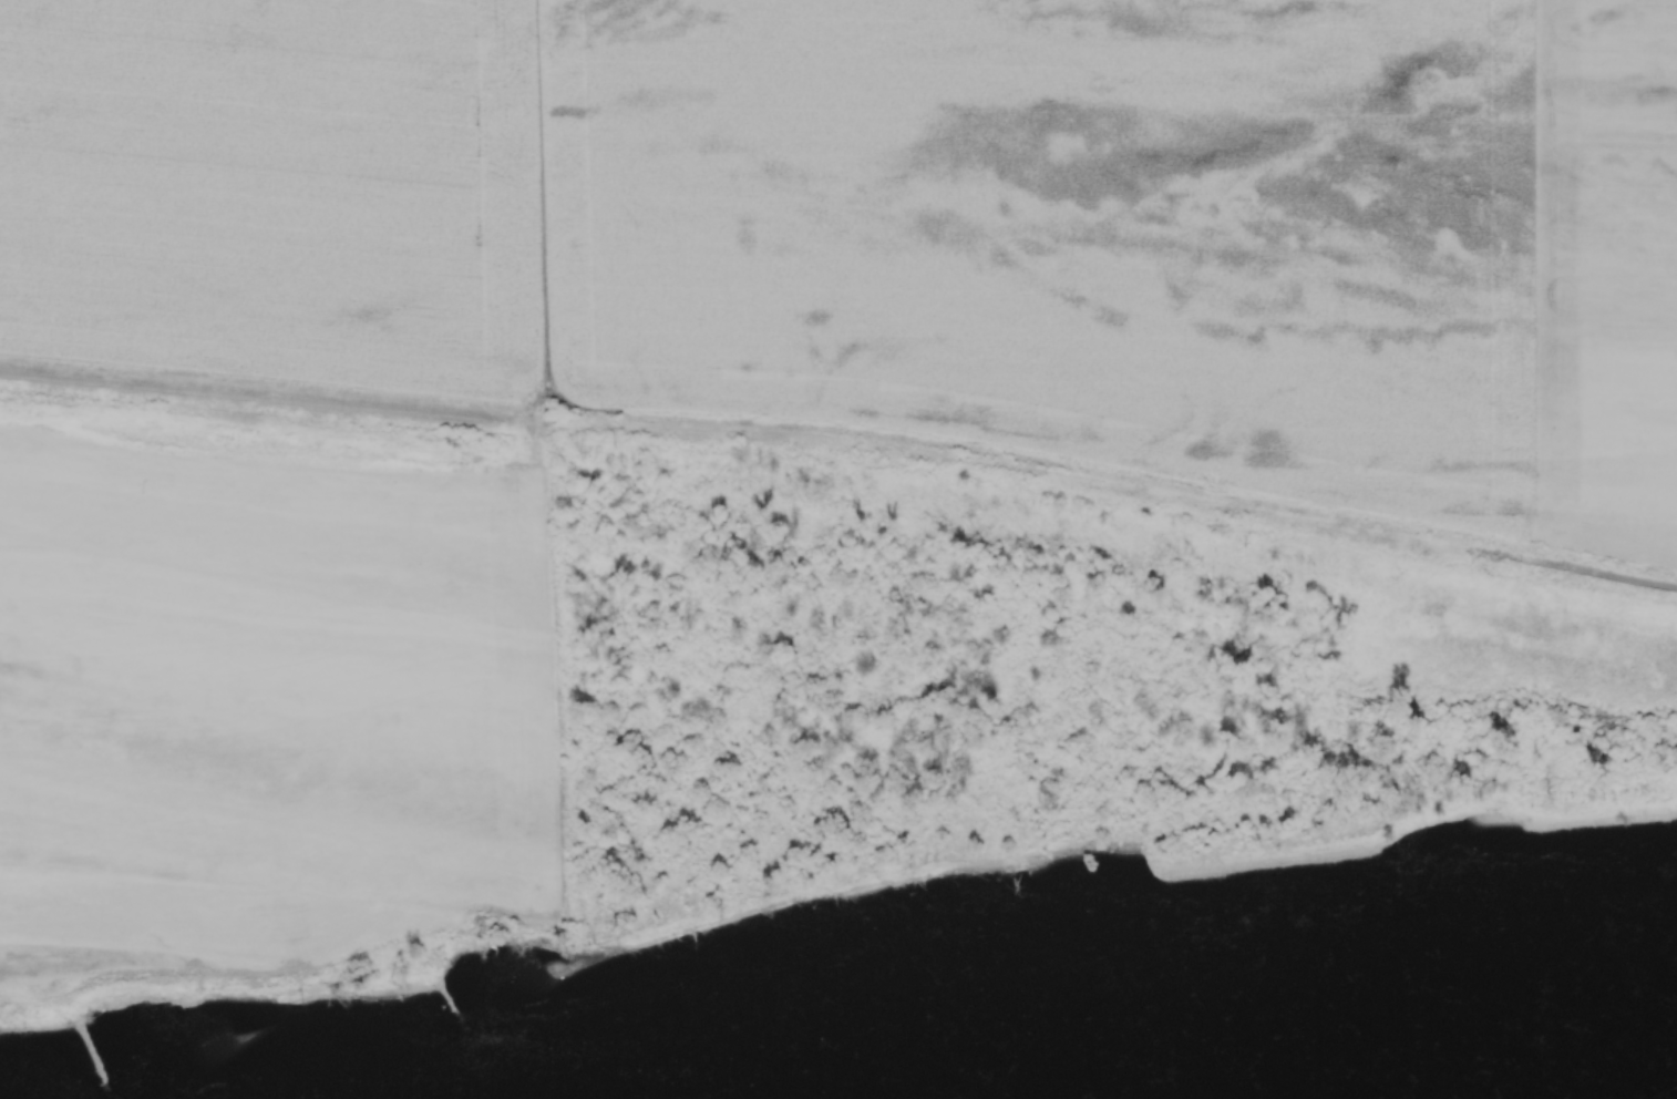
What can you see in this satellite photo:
river: (1493, 1072)

